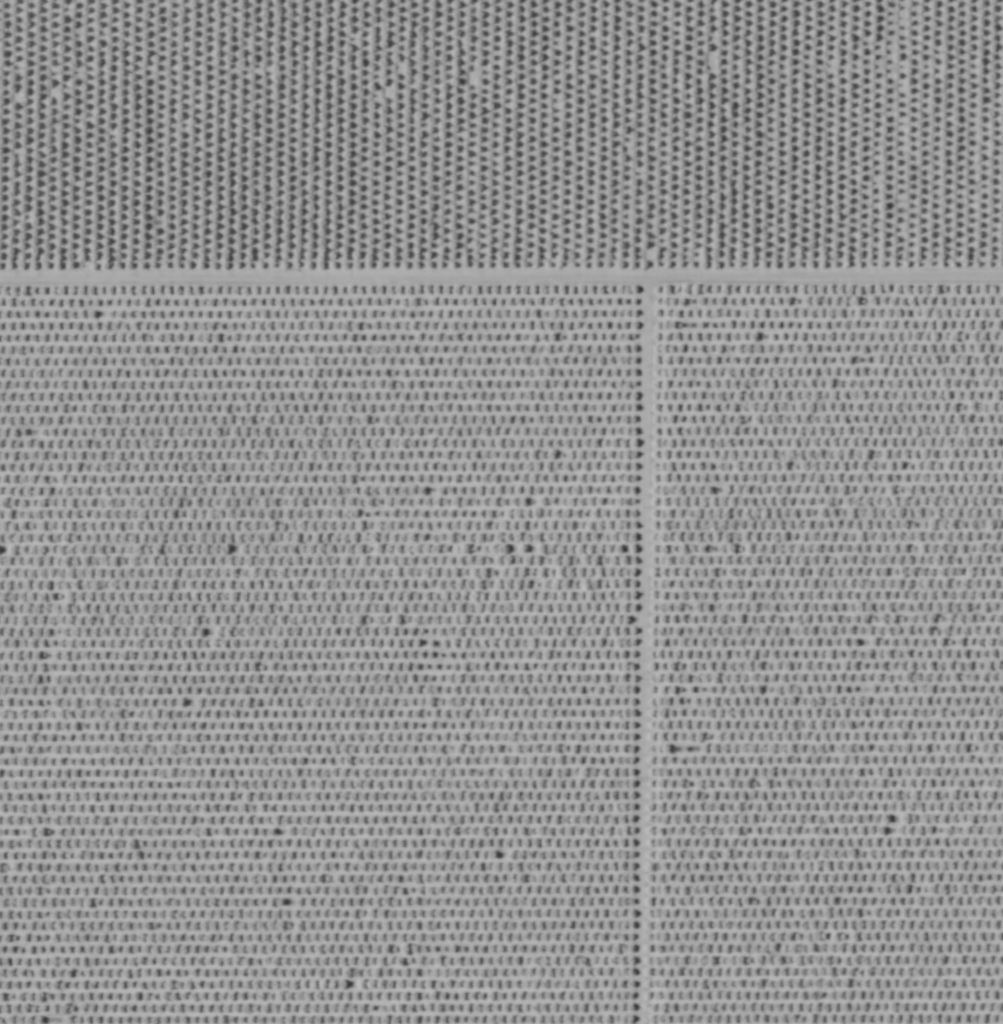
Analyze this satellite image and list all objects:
crop: (501, 512)

